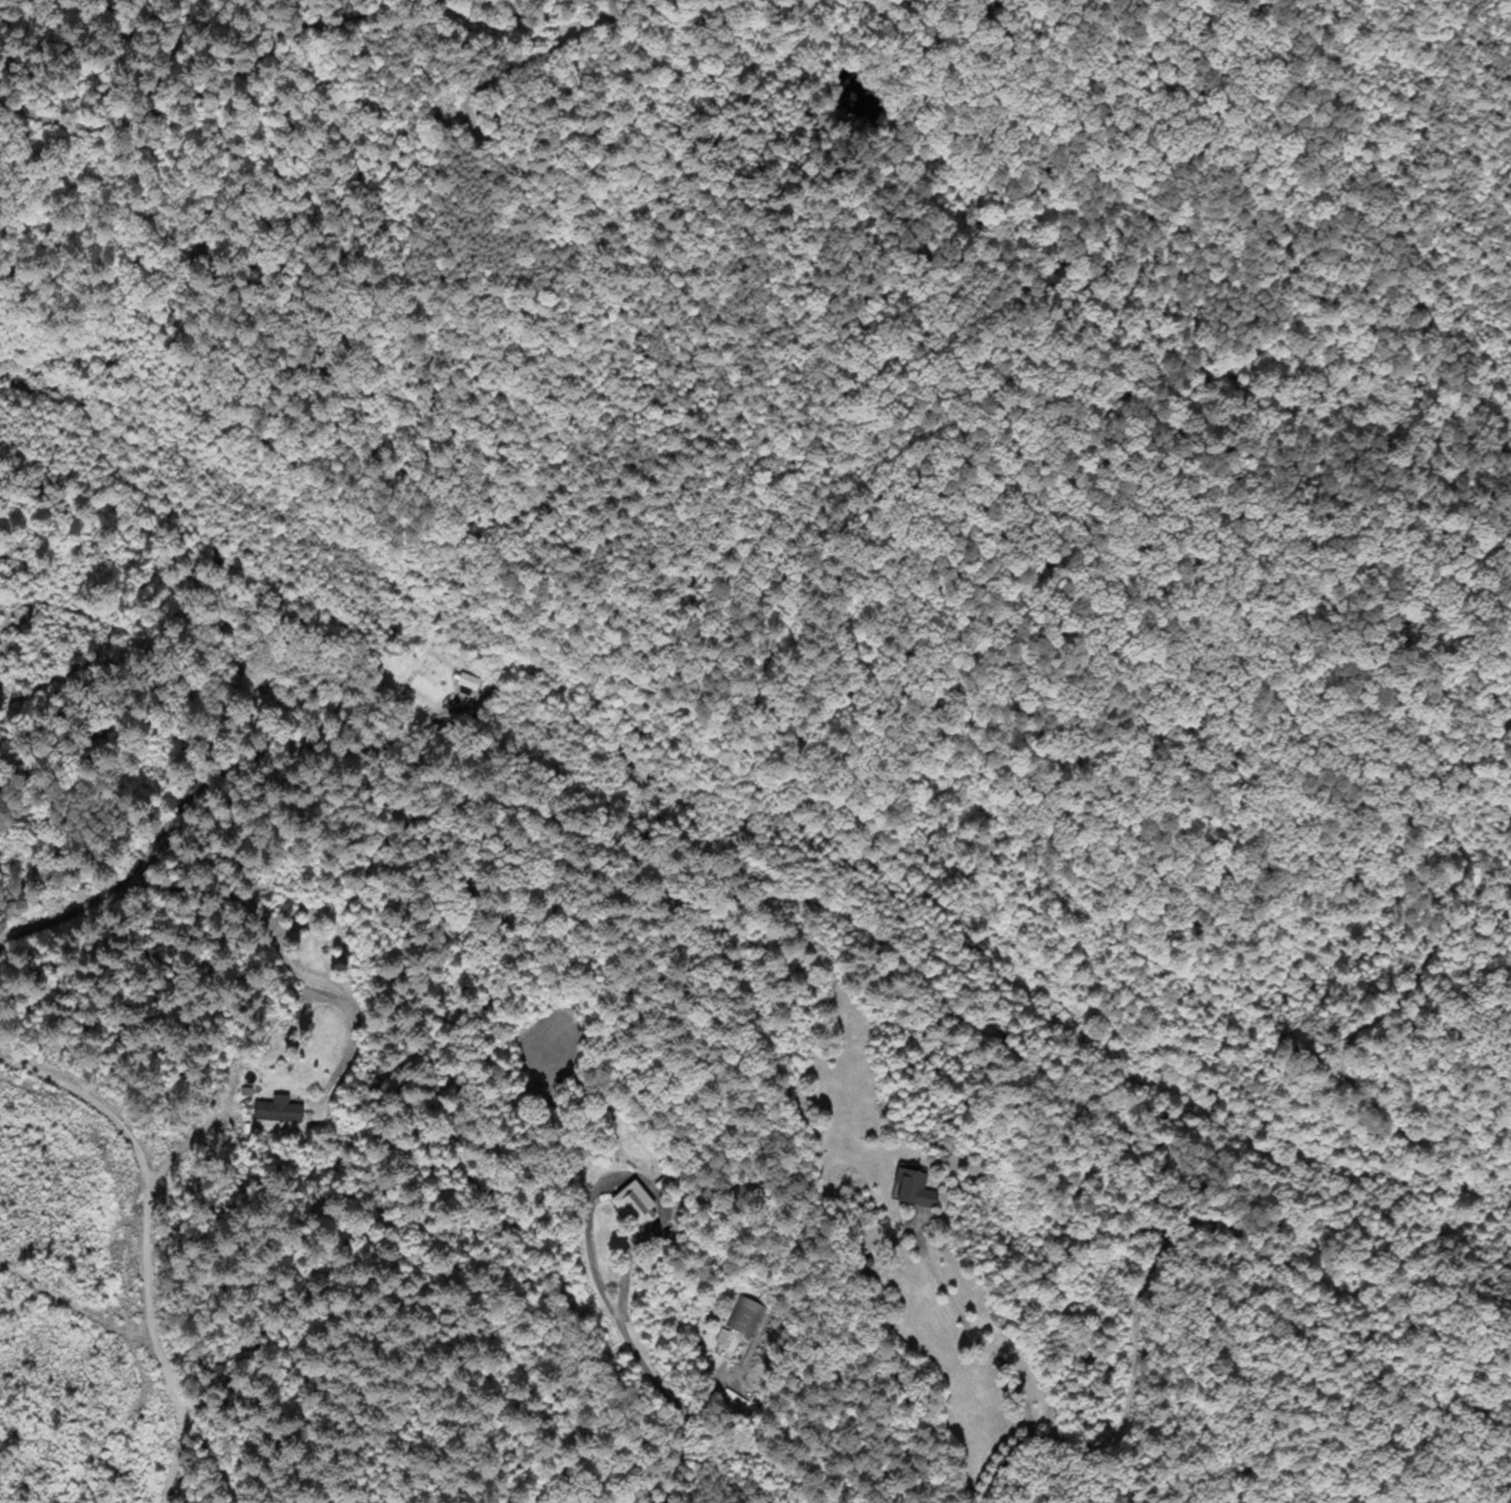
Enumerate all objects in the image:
road: (195, 92)
building: (468, 685)
building: (277, 1110)
building: (913, 1189)
building: (633, 1204)
road: (144, 1244)
building: (743, 1320)
road: (979, 1351)
road: (641, 1361)

